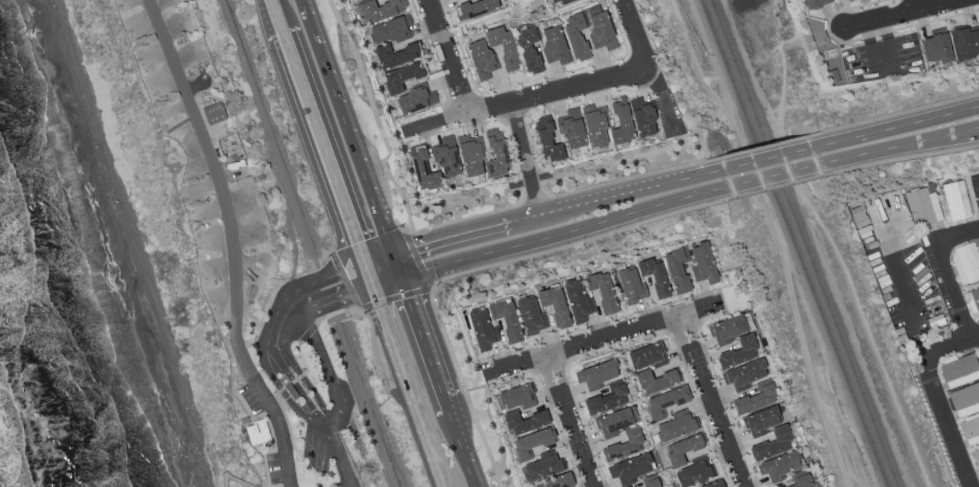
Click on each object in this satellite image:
building: (361, 0)
building: (849, 0)
road: (270, 1)
building: (562, 1)
building: (815, 3)
road: (919, 3)
building: (476, 8)
building: (379, 9)
road: (892, 13)
road: (831, 15)
road: (935, 20)
building: (390, 30)
road: (633, 30)
building: (600, 31)
road: (875, 35)
building: (575, 38)
building: (966, 42)
road: (880, 44)
building: (553, 45)
building: (502, 46)
building: (937, 49)
building: (529, 51)
building: (394, 56)
road: (450, 56)
building: (480, 59)
building: (399, 78)
road: (871, 84)
road: (529, 99)
building: (414, 101)
road: (308, 105)
road: (897, 113)
building: (213, 114)
road: (375, 115)
building: (642, 118)
building: (620, 123)
road: (899, 126)
building: (594, 127)
building: (571, 130)
road: (520, 132)
road: (689, 134)
road: (352, 140)
building: (547, 142)
road: (764, 146)
road: (902, 147)
building: (496, 154)
building: (445, 156)
building: (469, 157)
road: (768, 158)
road: (904, 160)
building: (423, 170)
road: (774, 176)
road: (619, 180)
road: (530, 181)
road: (777, 187)
road: (532, 189)
road: (627, 193)
building: (975, 196)
road: (534, 197)
building: (955, 201)
building: (924, 210)
building: (860, 217)
road: (460, 221)
road: (562, 233)
road: (465, 235)
road: (773, 237)
road: (829, 239)
road: (230, 242)
road: (310, 243)
railway: (794, 243)
railway: (804, 243)
building: (978, 245)
road: (322, 251)
traffic signals: (394, 255)
road: (379, 259)
building: (966, 263)
traffic signals: (365, 264)
building: (702, 265)
parking lot: (897, 265)
road: (475, 270)
building: (677, 270)
road: (945, 270)
building: (653, 276)
traffic signals: (403, 280)
road: (730, 284)
traffic signals: (372, 286)
building: (601, 292)
road: (708, 292)
road: (903, 294)
road: (398, 296)
building: (575, 302)
building: (973, 302)
building: (554, 307)
building: (530, 316)
road: (273, 317)
road: (290, 318)
building: (505, 319)
road: (369, 324)
building: (480, 329)
building: (726, 330)
road: (306, 333)
road: (423, 339)
road: (604, 339)
road: (634, 341)
road: (946, 345)
road: (394, 347)
building: (978, 351)
building: (736, 353)
road: (301, 357)
building: (647, 357)
road: (326, 366)
building: (960, 371)
building: (745, 373)
building: (596, 375)
road: (291, 380)
building: (655, 381)
road: (289, 382)
building: (290, 392)
road: (545, 395)
building: (516, 397)
building: (754, 399)
building: (966, 399)
parking lot: (251, 400)
building: (606, 400)
building: (665, 401)
road: (710, 402)
road: (445, 406)
road: (271, 410)
road: (572, 421)
building: (762, 421)
building: (523, 422)
building: (614, 422)
building: (674, 428)
road: (946, 428)
road: (269, 431)
building: (969, 431)
building: (258, 435)
road: (291, 442)
building: (531, 443)
building: (622, 445)
building: (772, 445)
building: (683, 449)
road: (461, 450)
parking lot: (313, 452)
road: (338, 456)
building: (975, 461)
parking lot: (273, 468)
building: (541, 468)
building: (781, 468)
building: (630, 469)
building: (693, 475)
building: (554, 482)
building: (651, 482)
building: (797, 482)
road: (285, 483)
building: (713, 484)

